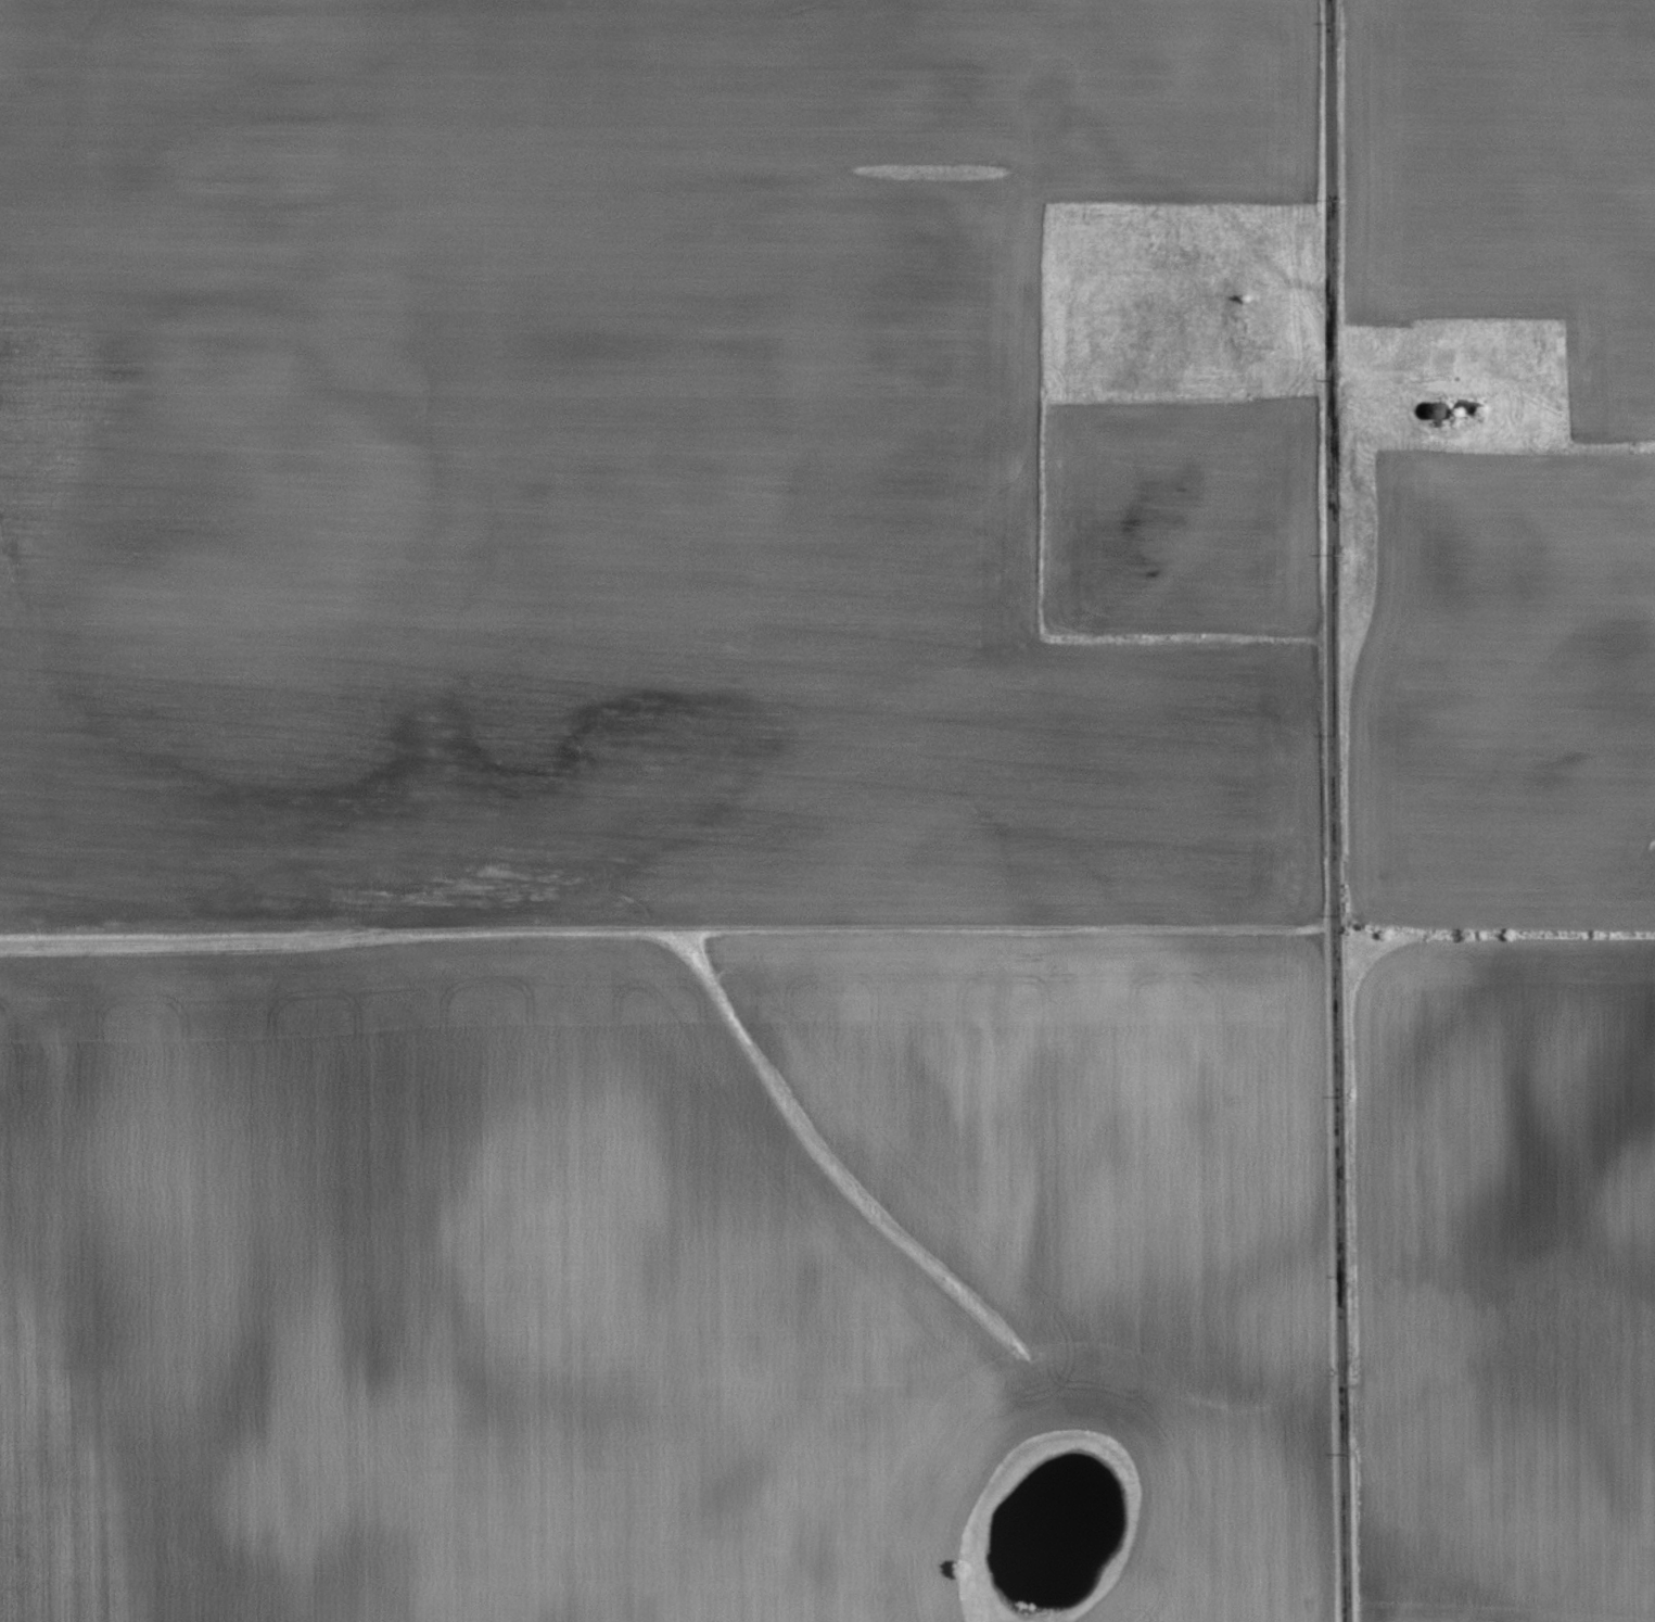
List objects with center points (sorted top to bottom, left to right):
road: (1334, 811)

